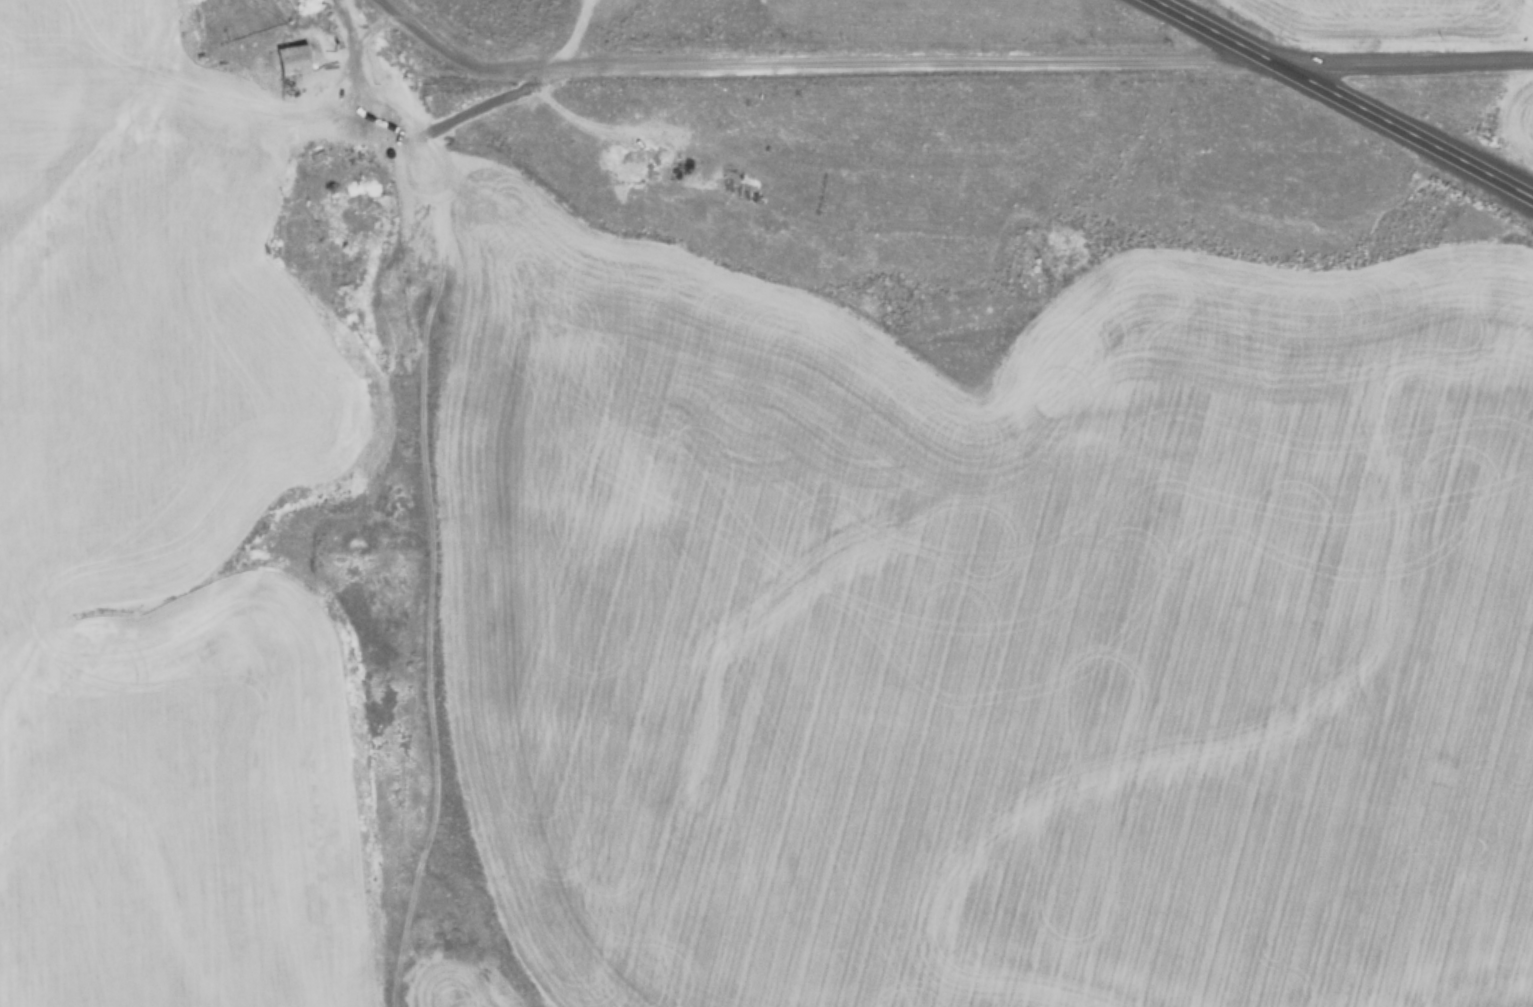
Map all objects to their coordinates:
road: (359, 43)
road: (454, 56)
road: (1405, 59)
road: (702, 61)
road: (1348, 95)

